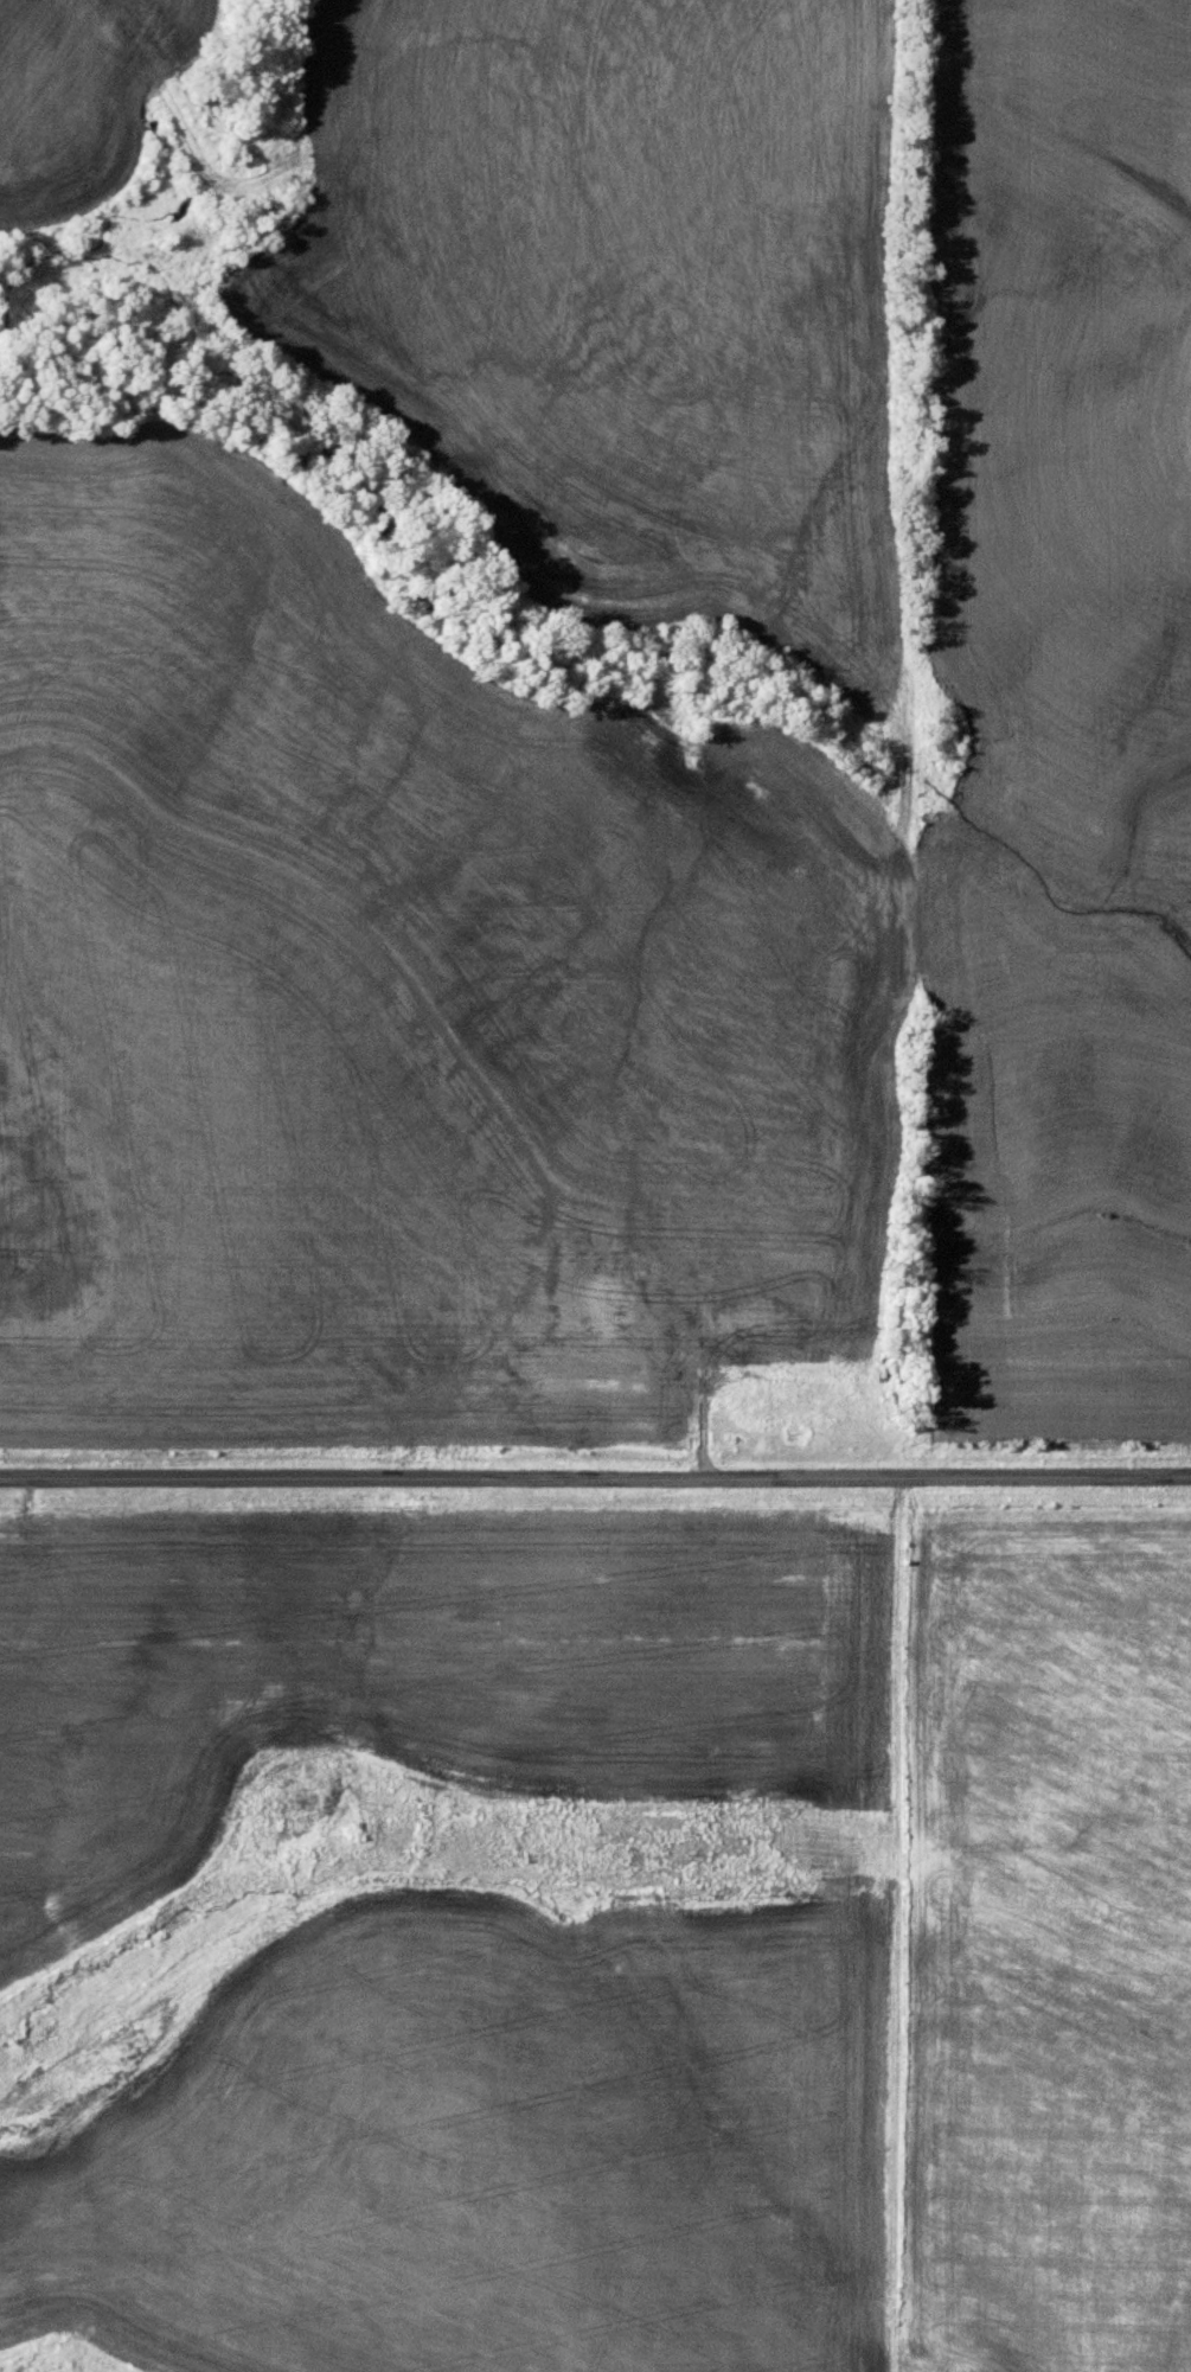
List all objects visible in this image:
road: (595, 1481)

